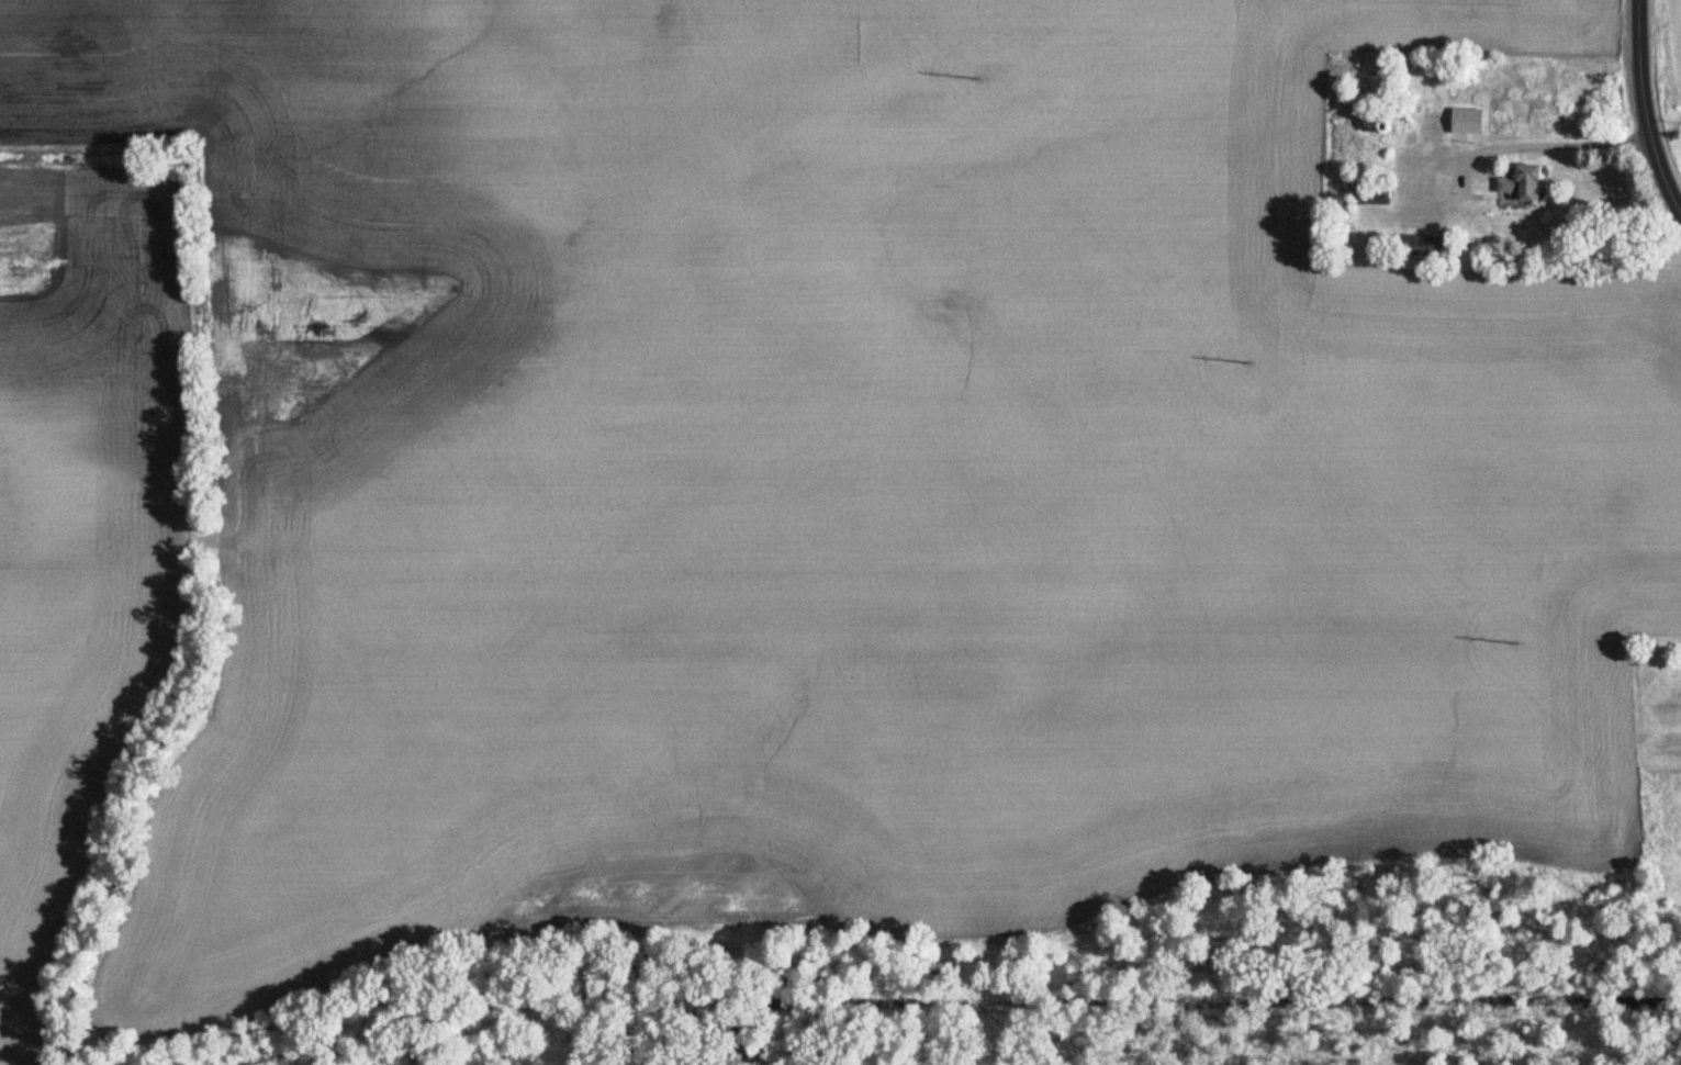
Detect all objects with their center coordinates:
road: (1643, 112)
building: (1461, 123)
road: (1534, 149)
building: (1513, 186)

